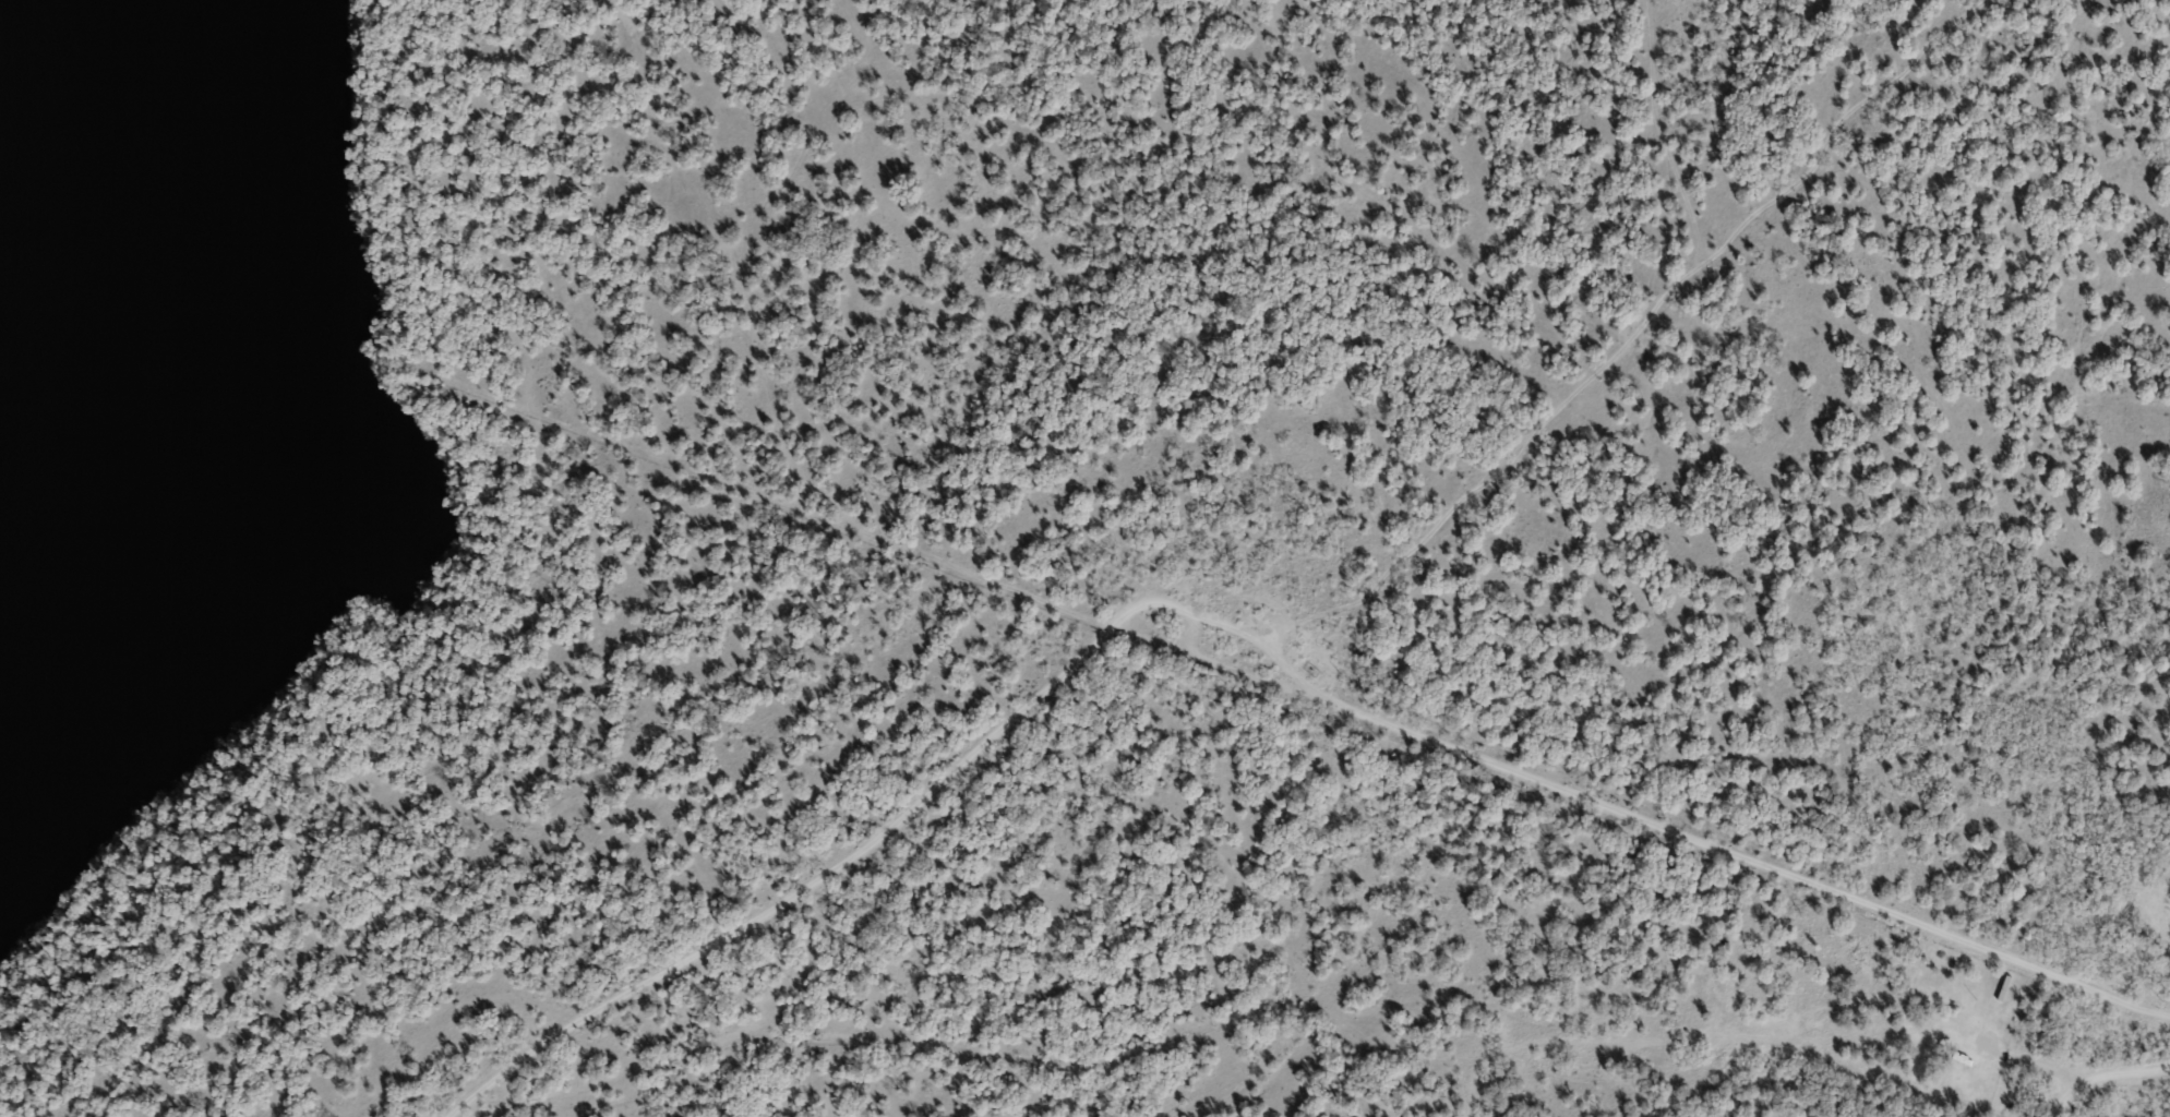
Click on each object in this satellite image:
road: (769, 397)
road: (1890, 810)
road: (894, 821)
road: (1663, 824)
road: (1771, 951)
road: (2101, 1074)

